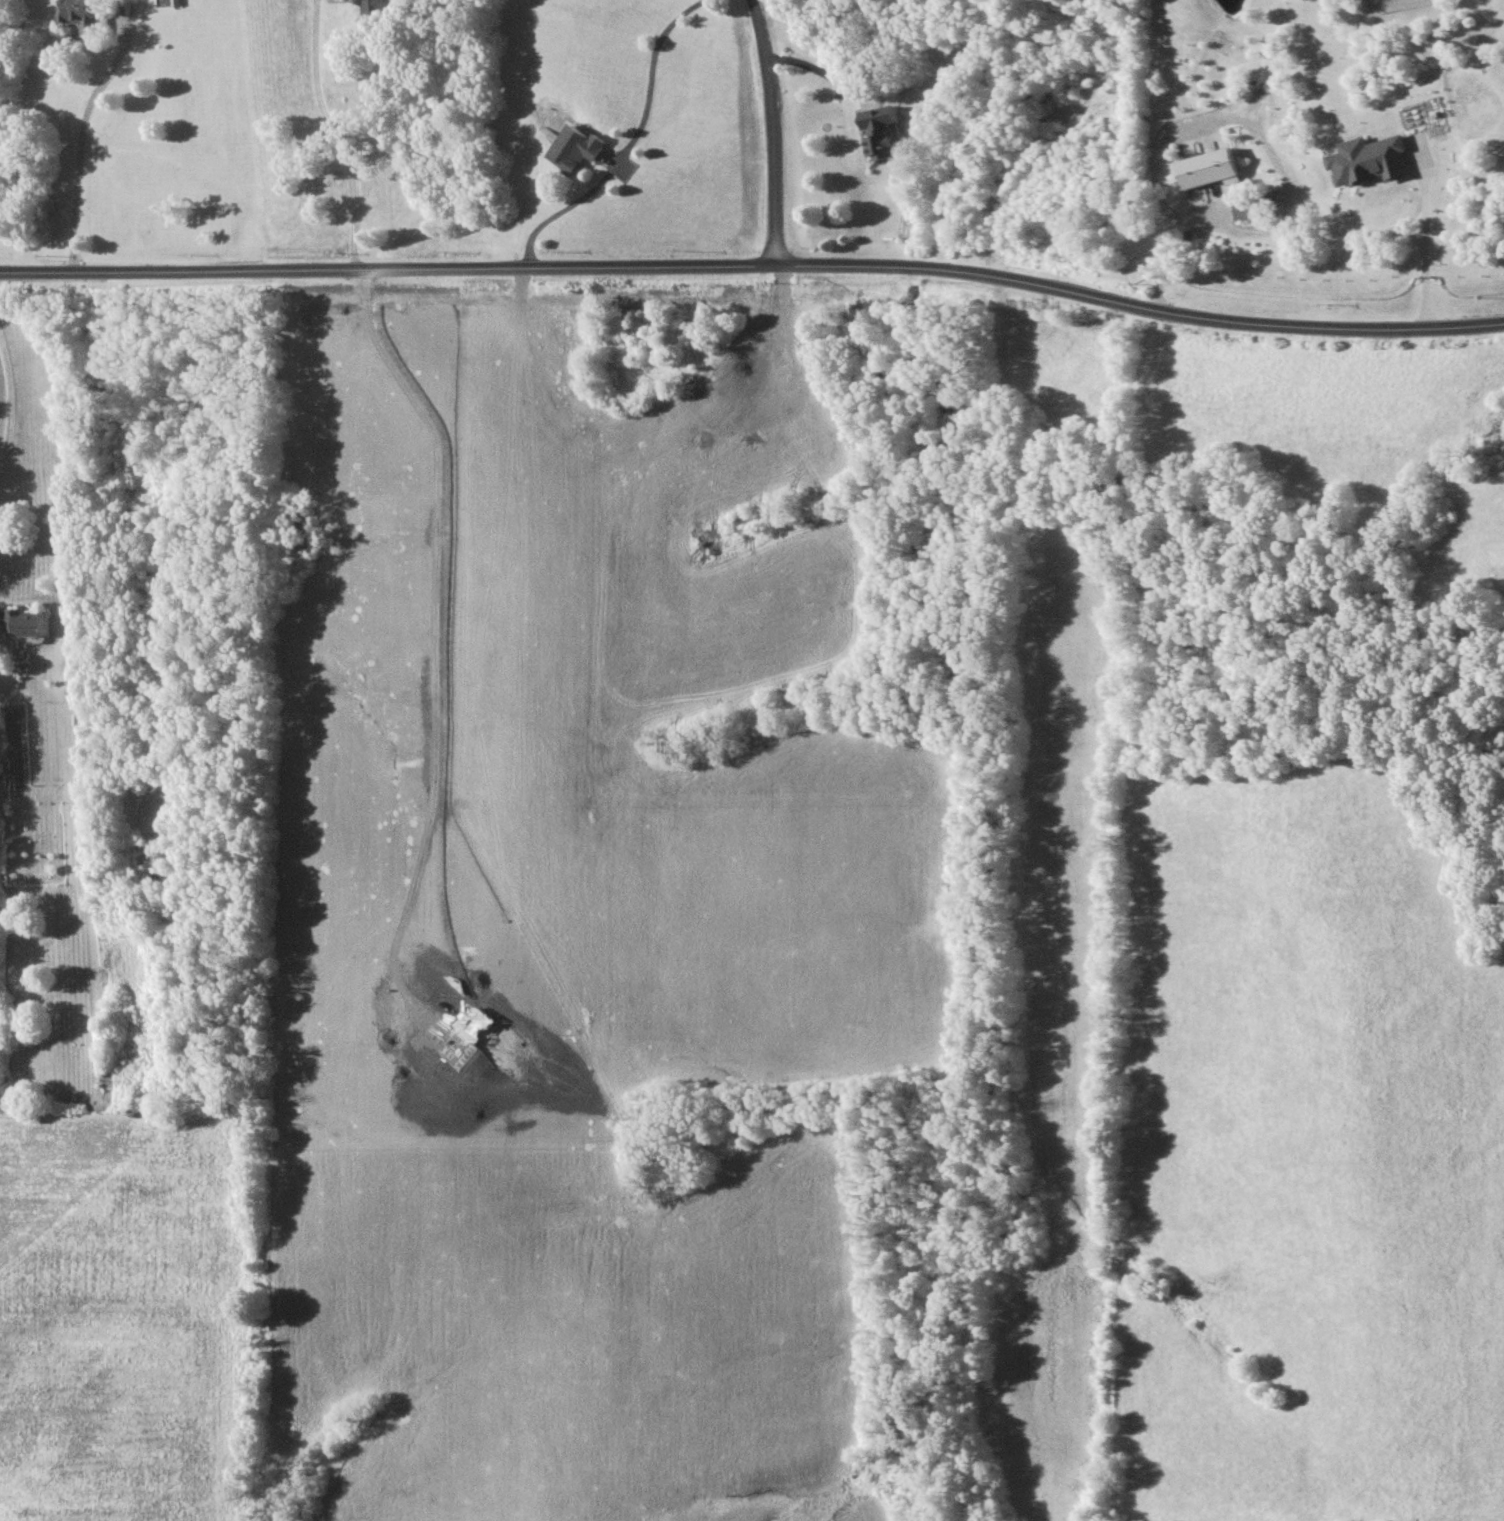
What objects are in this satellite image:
building: (374, 6)
building: (83, 14)
road: (821, 69)
road: (1220, 115)
road: (776, 131)
building: (881, 131)
road: (334, 134)
road: (622, 145)
building: (576, 148)
road: (75, 155)
building: (1369, 160)
building: (1210, 168)
building: (1245, 209)
road: (1411, 211)
road: (1252, 226)
road: (1424, 230)
road: (754, 266)
road: (10, 410)
building: (26, 622)

